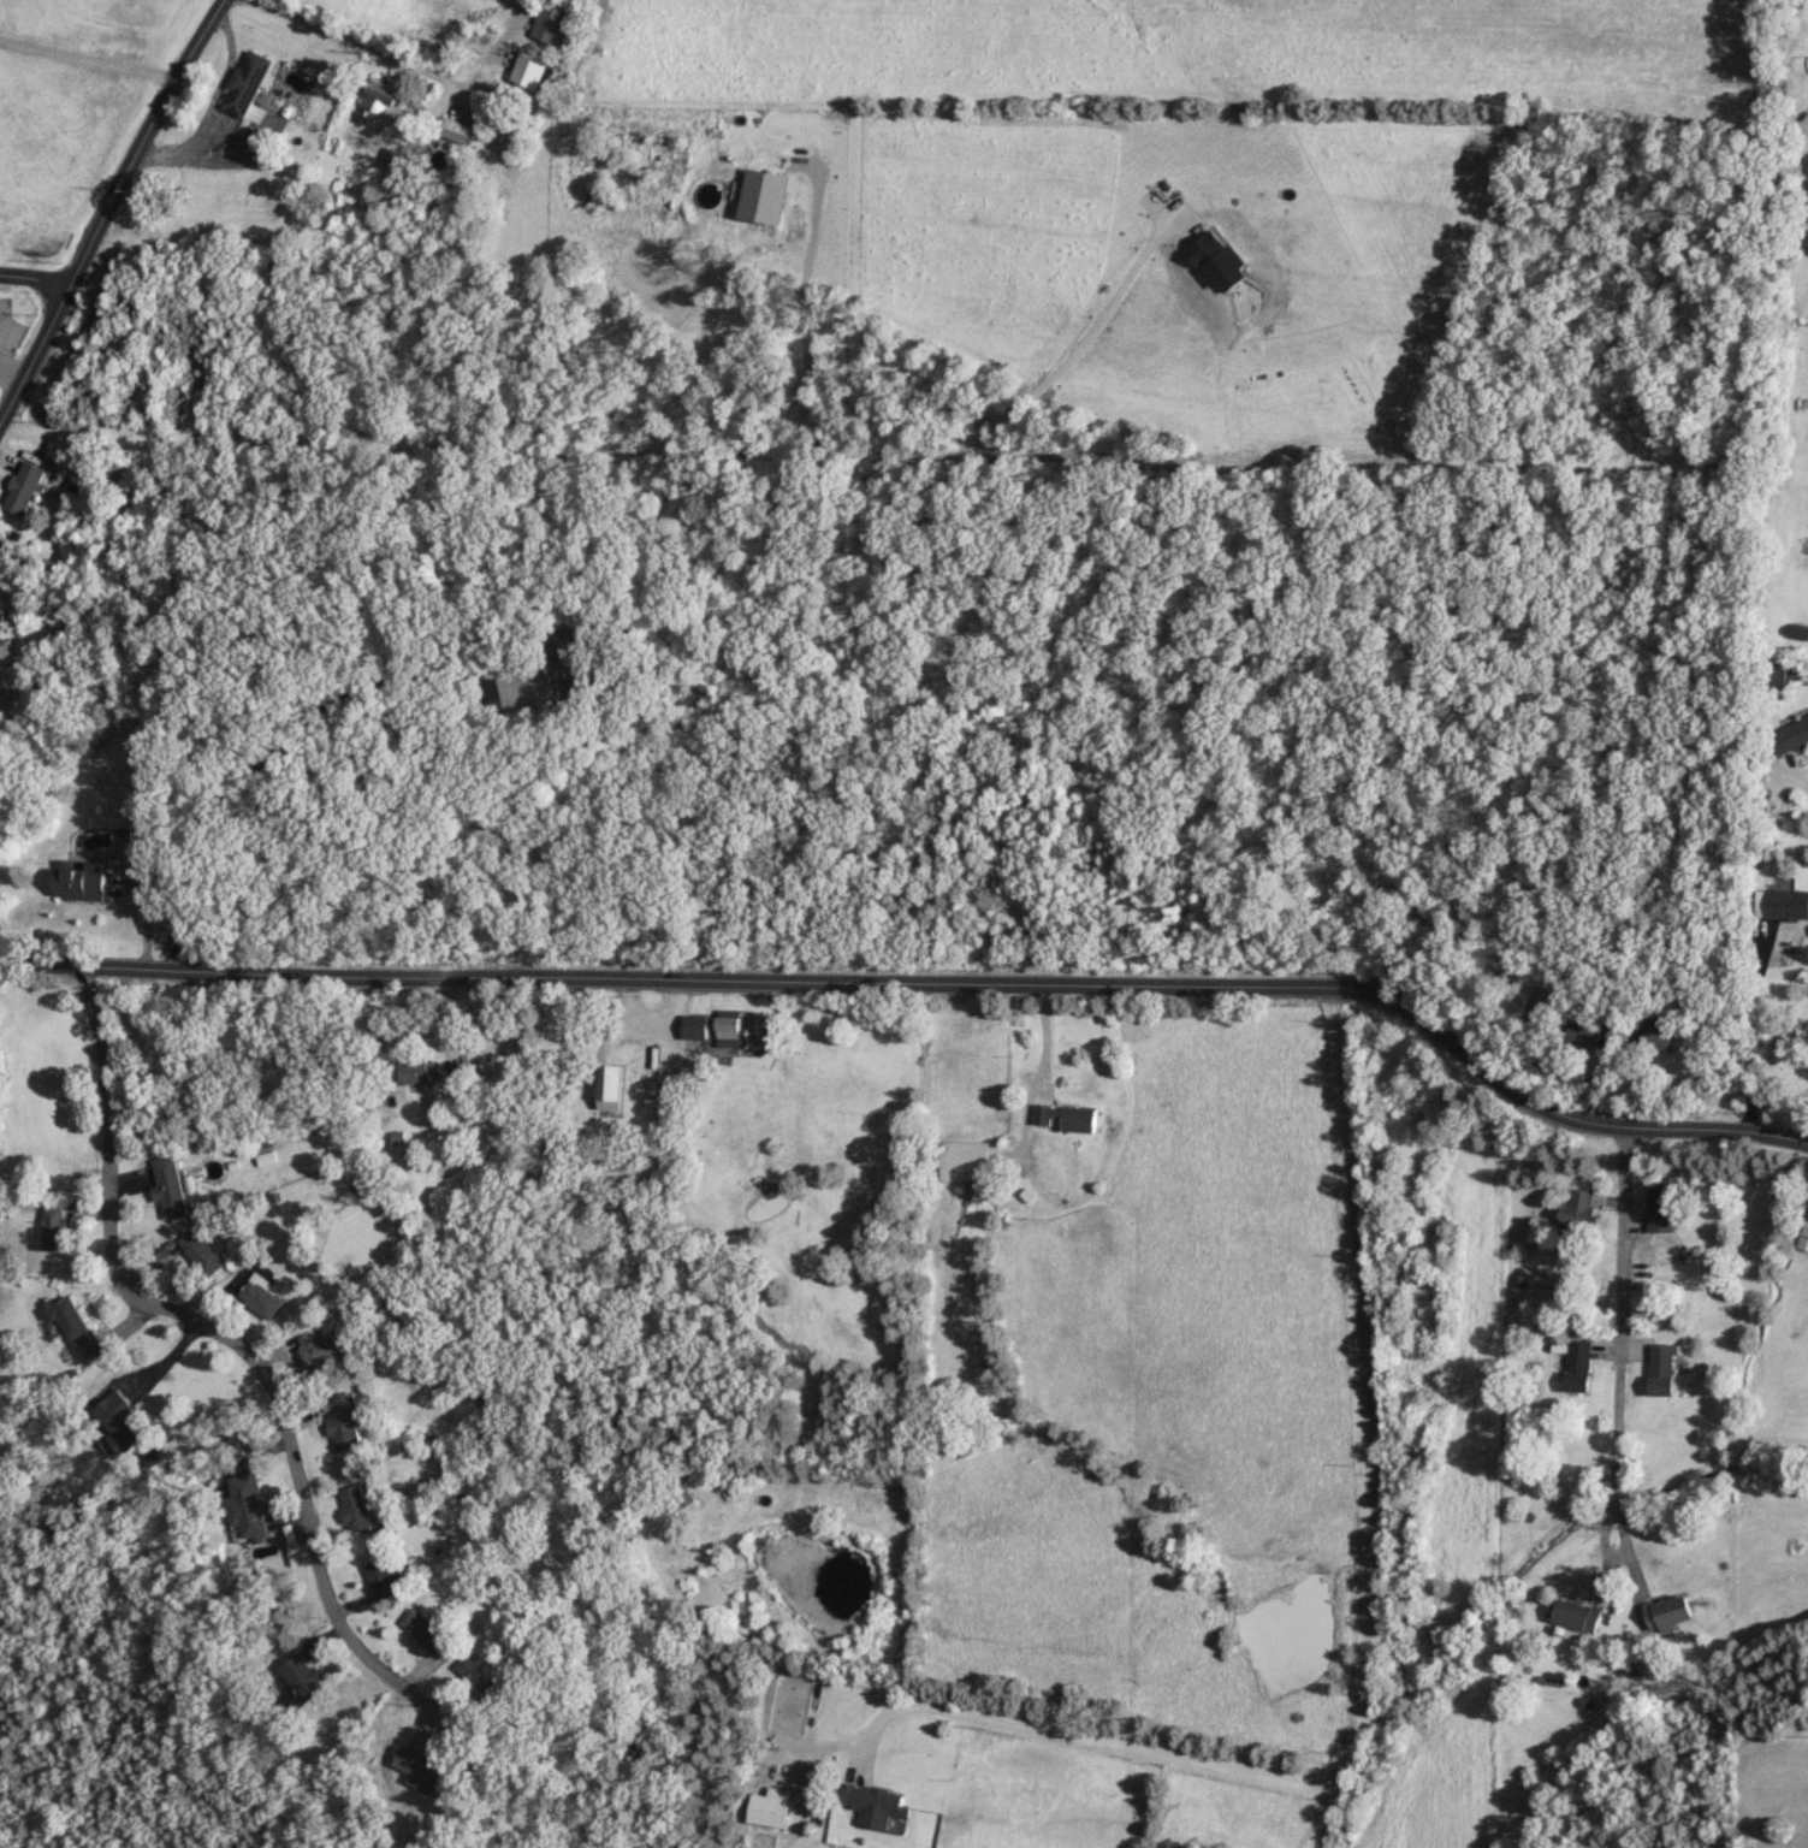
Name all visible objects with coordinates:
building: (550, 20)
road: (321, 25)
building: (530, 65)
building: (247, 83)
building: (384, 99)
building: (456, 130)
building: (633, 153)
building: (396, 159)
road: (108, 196)
road: (32, 274)
road: (6, 371)
building: (25, 486)
building: (4, 546)
building: (571, 662)
building: (1777, 674)
building: (1790, 736)
road: (278, 746)
road: (1795, 778)
building: (81, 881)
building: (1780, 904)
road: (924, 981)
building: (698, 1026)
building: (734, 1030)
building: (1583, 1031)
road: (1750, 1033)
building: (1660, 1035)
building: (420, 1071)
building: (184, 1078)
road: (1030, 1078)
building: (612, 1086)
building: (1065, 1118)
building: (964, 1160)
building: (171, 1185)
building: (1661, 1207)
building: (1577, 1209)
building: (55, 1227)
building: (1804, 1237)
building: (203, 1251)
building: (262, 1297)
building: (79, 1329)
road: (1622, 1332)
road: (233, 1335)
building: (318, 1345)
building: (1577, 1364)
building: (1661, 1368)
building: (128, 1422)
building: (346, 1423)
building: (36, 1492)
building: (682, 1494)
building: (247, 1504)
building: (357, 1509)
building: (387, 1576)
road: (1373, 1594)
building: (1666, 1612)
building: (1577, 1616)
building: (431, 1633)
building: (482, 1675)
building: (303, 1677)
building: (247, 1706)
building: (421, 1770)
building: (1546, 1773)
building: (876, 1806)
building: (769, 1807)

